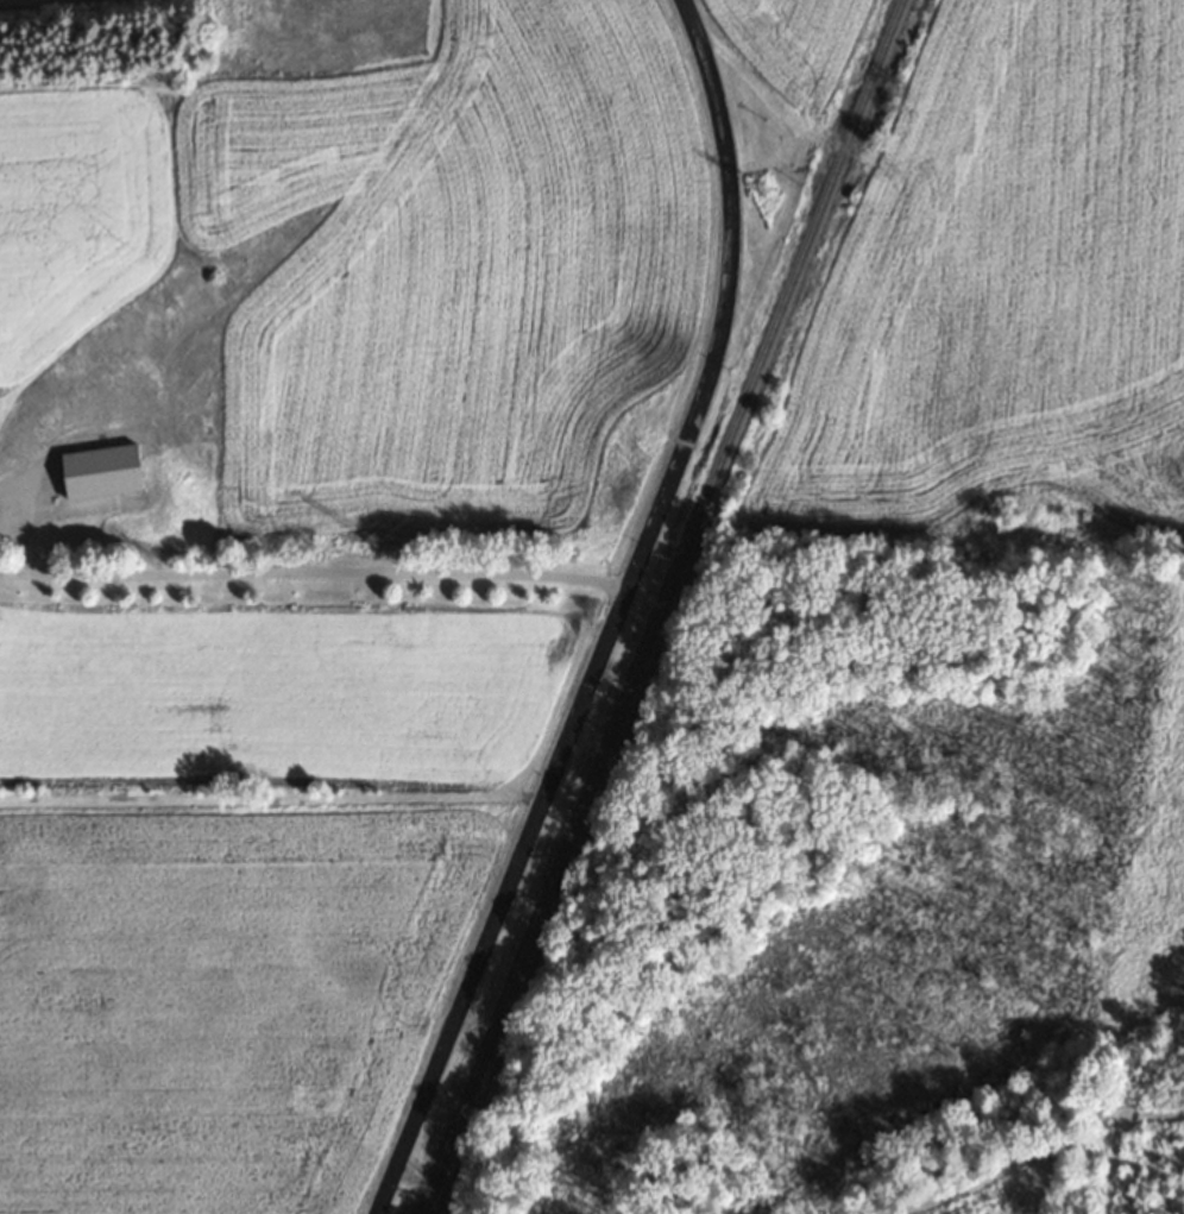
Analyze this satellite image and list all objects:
road: (296, 568)
railway: (661, 605)
road: (615, 616)

